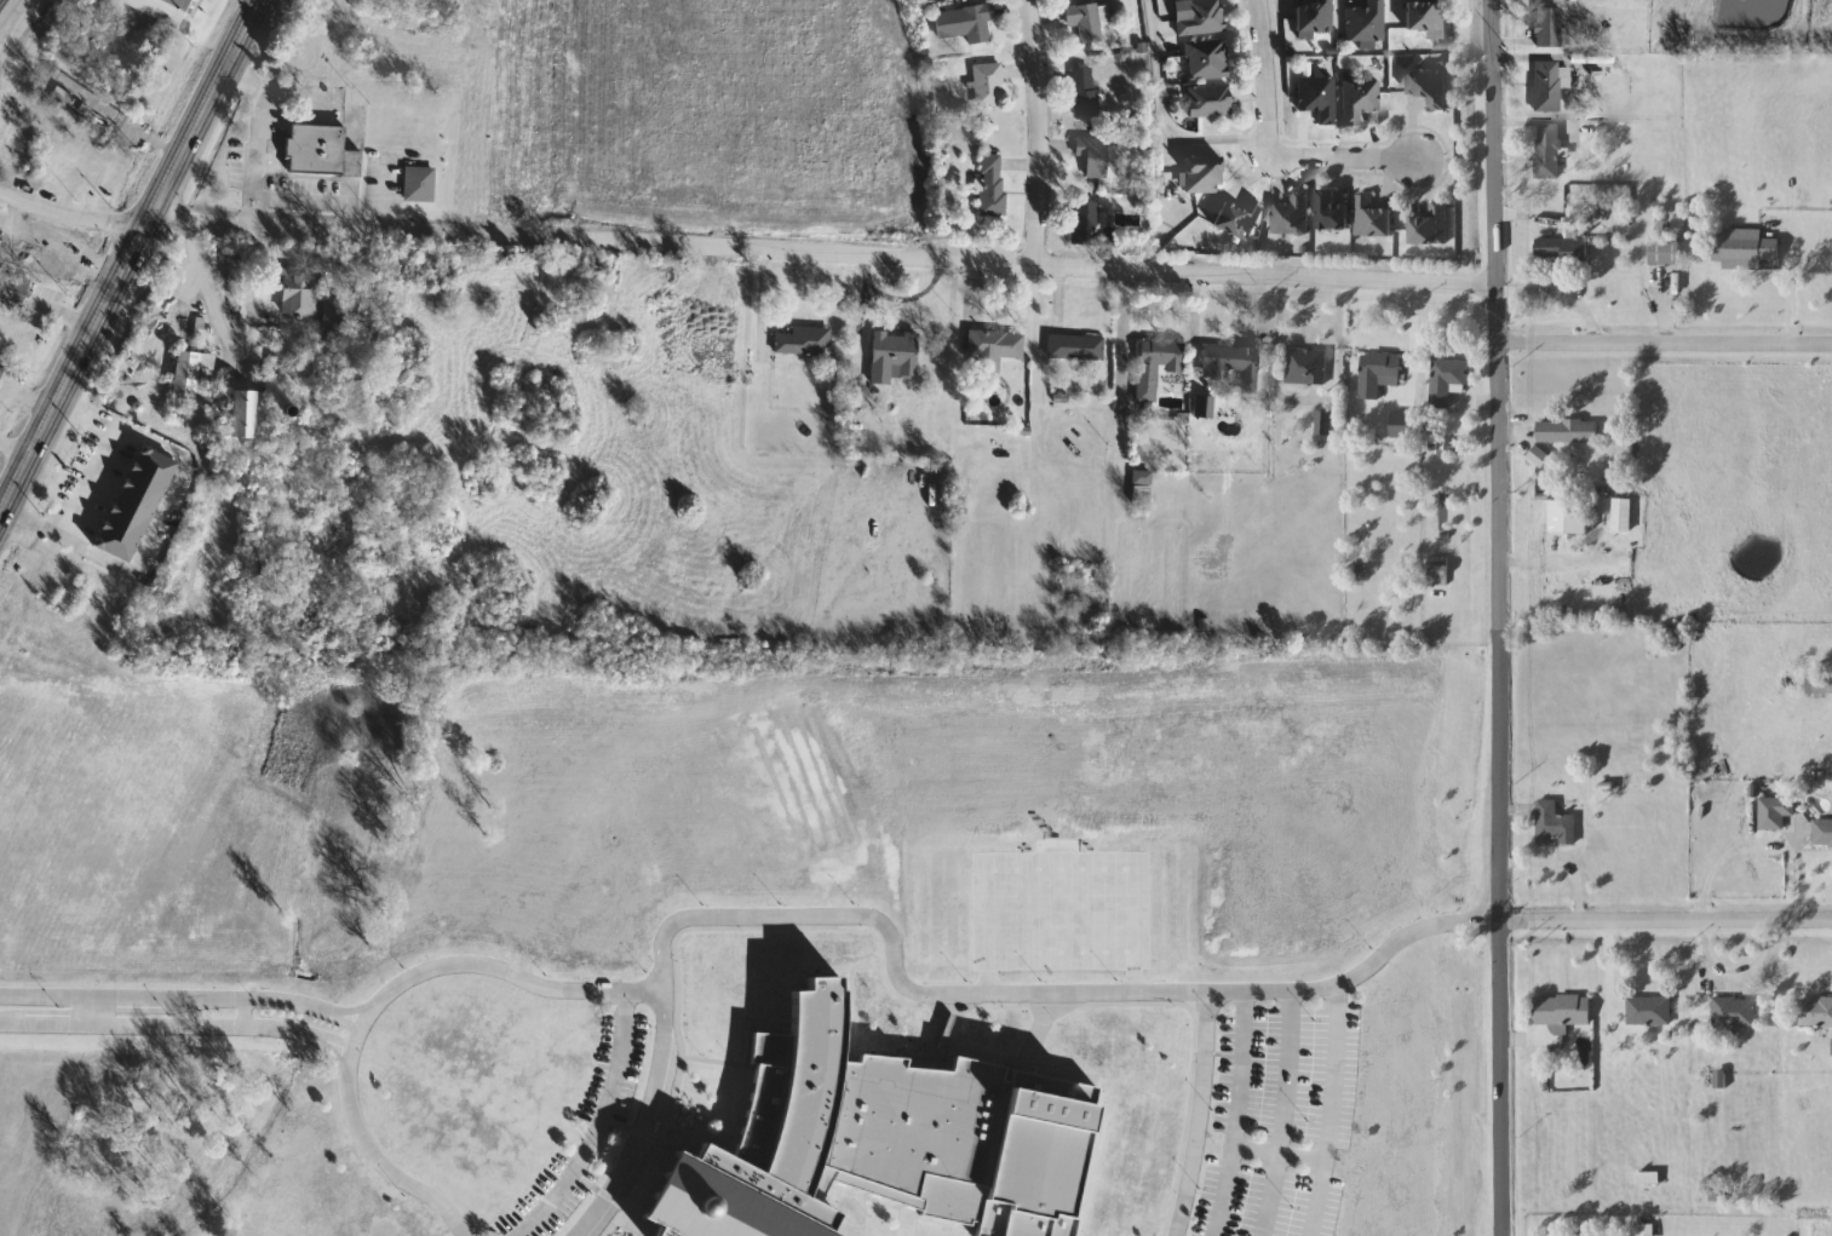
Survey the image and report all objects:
building: (161, 8)
building: (1315, 16)
building: (1202, 17)
building: (1426, 17)
building: (1086, 21)
building: (966, 22)
building: (1367, 22)
building: (1549, 27)
building: (1208, 58)
road: (1264, 75)
building: (989, 85)
building: (1547, 86)
building: (1430, 87)
building: (1085, 96)
building: (1319, 97)
building: (1360, 99)
building: (1210, 100)
road: (201, 109)
road: (258, 116)
road: (1164, 117)
road: (1038, 131)
building: (321, 151)
building: (1547, 153)
road: (1348, 157)
building: (1092, 159)
building: (1205, 174)
building: (420, 184)
building: (992, 184)
road: (252, 185)
railway: (102, 189)
road: (314, 201)
road: (245, 207)
road: (257, 207)
building: (1332, 212)
road: (70, 214)
building: (1292, 214)
building: (1237, 217)
building: (1373, 219)
building: (1090, 225)
building: (1430, 226)
building: (0, 242)
building: (1747, 249)
building: (23, 251)
building: (1564, 251)
road: (822, 252)
building: (1665, 253)
road: (206, 288)
building: (15, 292)
building: (300, 295)
building: (808, 341)
building: (1076, 346)
road: (1666, 349)
building: (993, 350)
building: (894, 355)
building: (1235, 362)
building: (2, 364)
building: (1156, 364)
building: (1306, 367)
road: (73, 368)
building: (188, 373)
building: (1379, 374)
building: (1446, 380)
building: (1205, 406)
building: (249, 414)
building: (1325, 424)
building: (1568, 432)
road: (155, 444)
road: (1500, 460)
building: (1142, 488)
building: (136, 502)
road: (76, 507)
building: (1569, 517)
building: (1619, 517)
road: (134, 562)
building: (1440, 571)
building: (1817, 685)
building: (1775, 811)
building: (1555, 824)
building: (1822, 833)
road: (1562, 863)
road: (1453, 921)
road: (1666, 921)
road: (896, 960)
road: (1612, 965)
road: (505, 970)
road: (1311, 983)
road: (184, 998)
building: (1563, 1010)
building: (1649, 1011)
building: (1734, 1013)
road: (178, 1024)
road: (361, 1028)
road: (356, 1042)
road: (1500, 1079)
road: (1327, 1109)
road: (1276, 1111)
road: (1191, 1113)
road: (1236, 1113)
road: (647, 1121)
road: (595, 1126)
building: (884, 1140)
road: (380, 1160)

